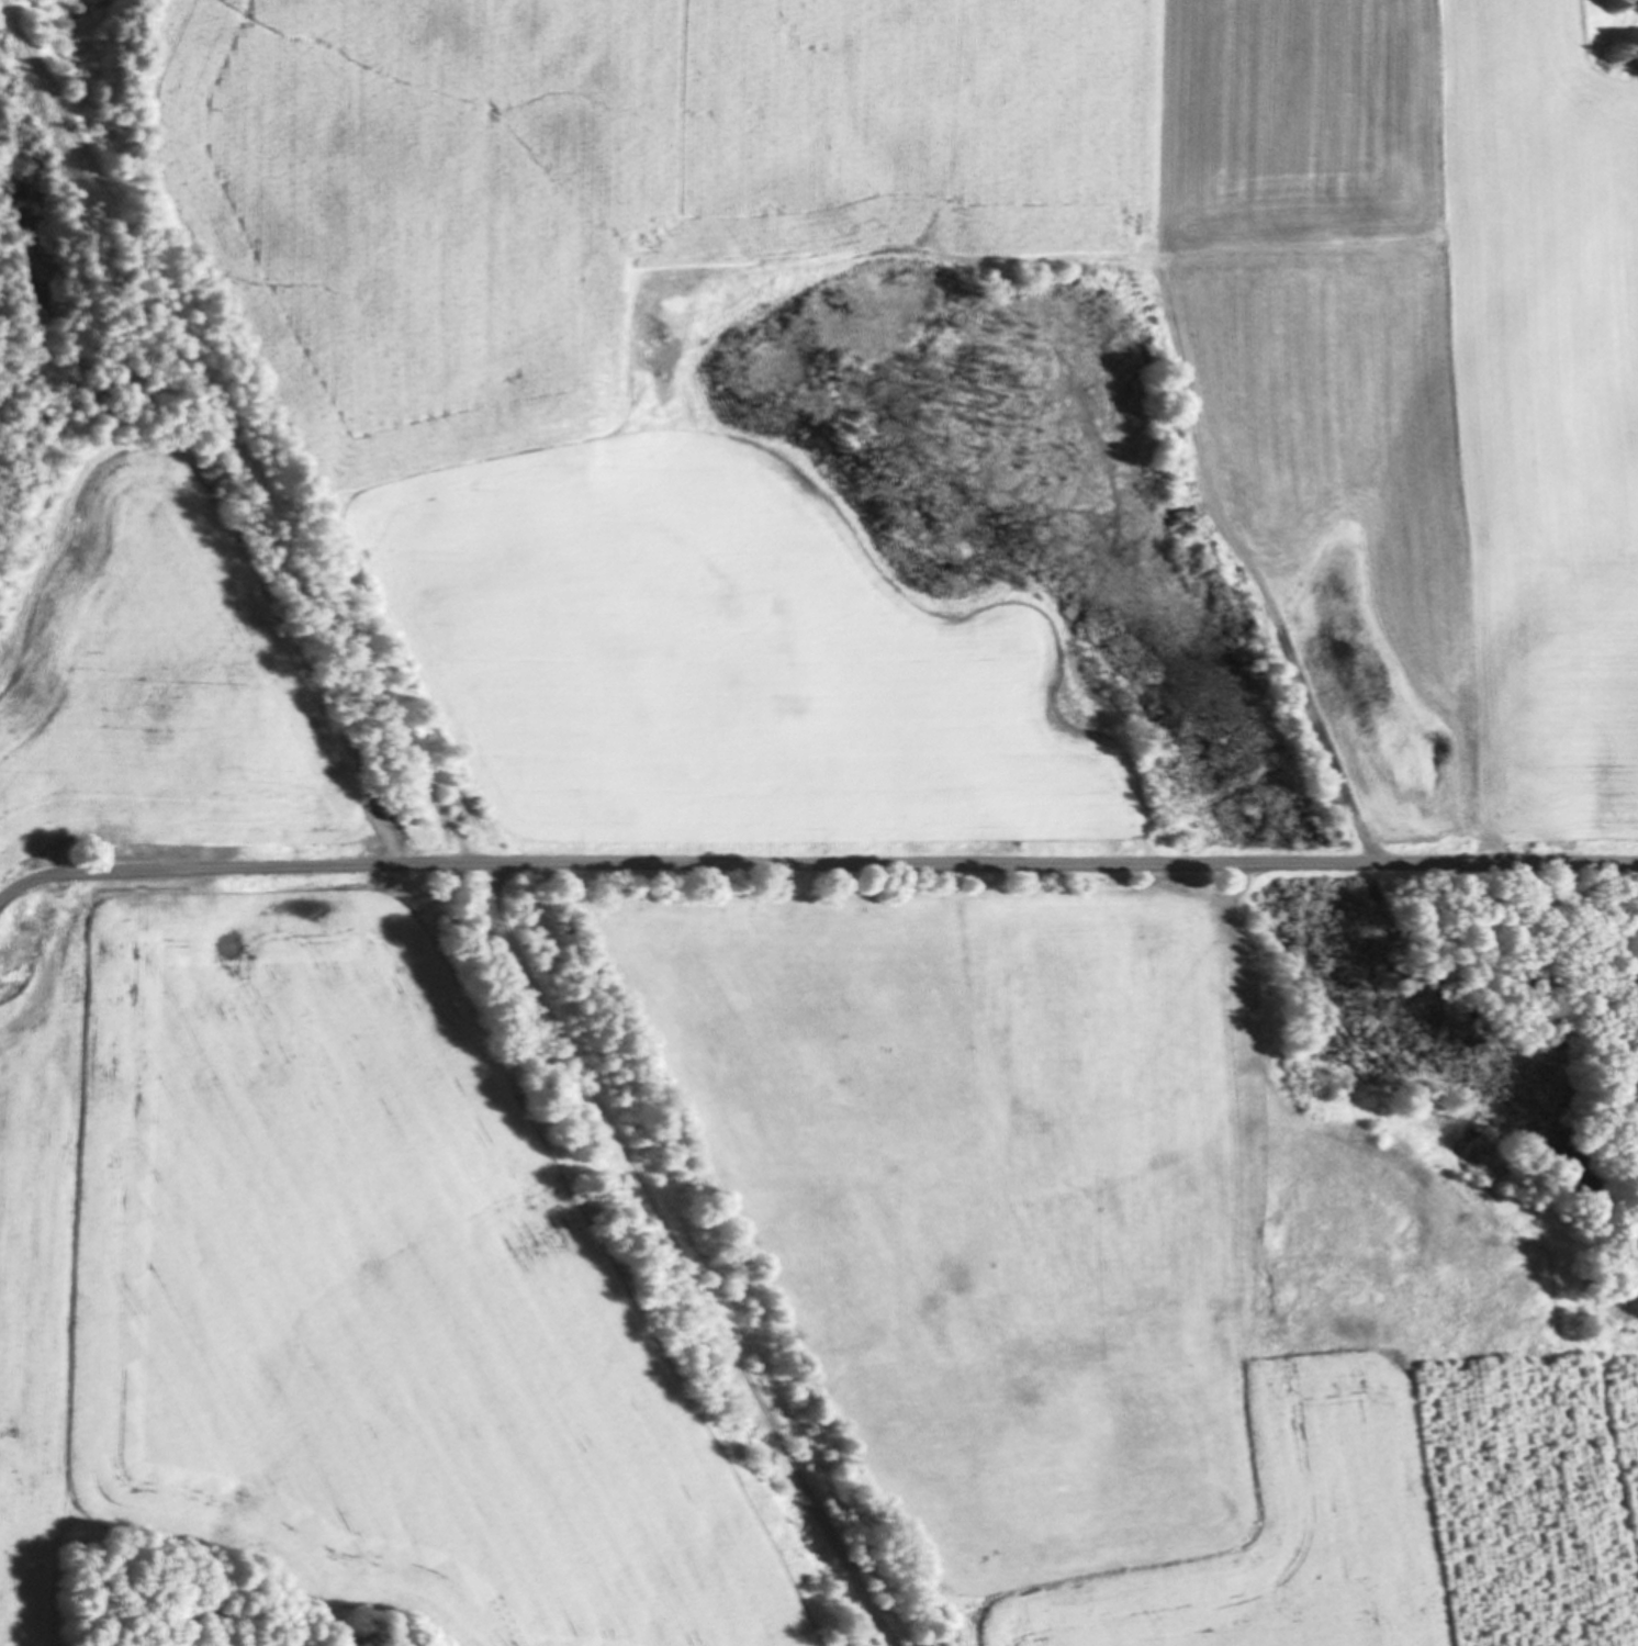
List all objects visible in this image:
road: (232, 432)
road: (1258, 581)
road: (815, 863)
road: (494, 888)
road: (692, 1281)

